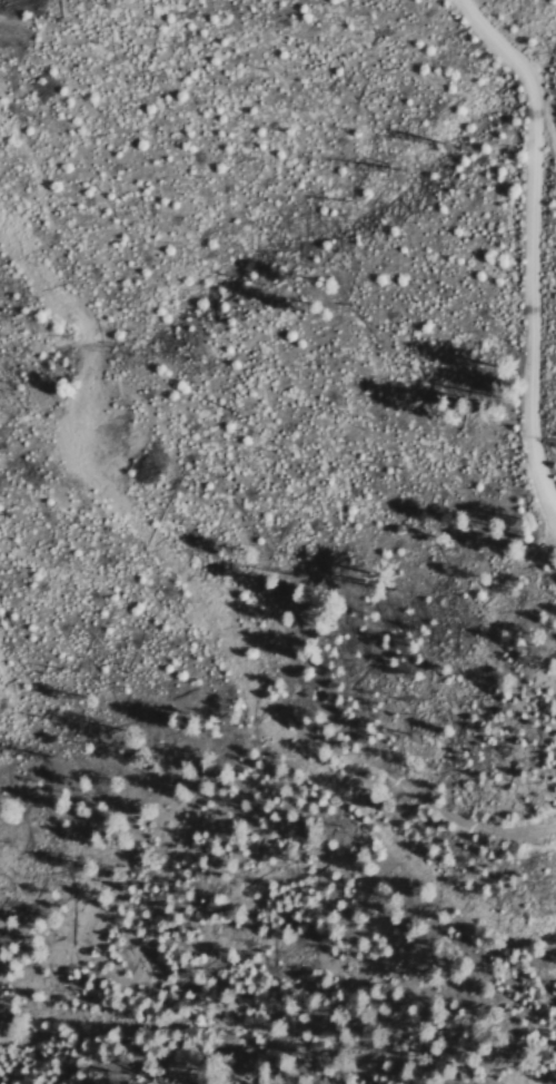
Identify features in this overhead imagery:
road: (533, 249)

